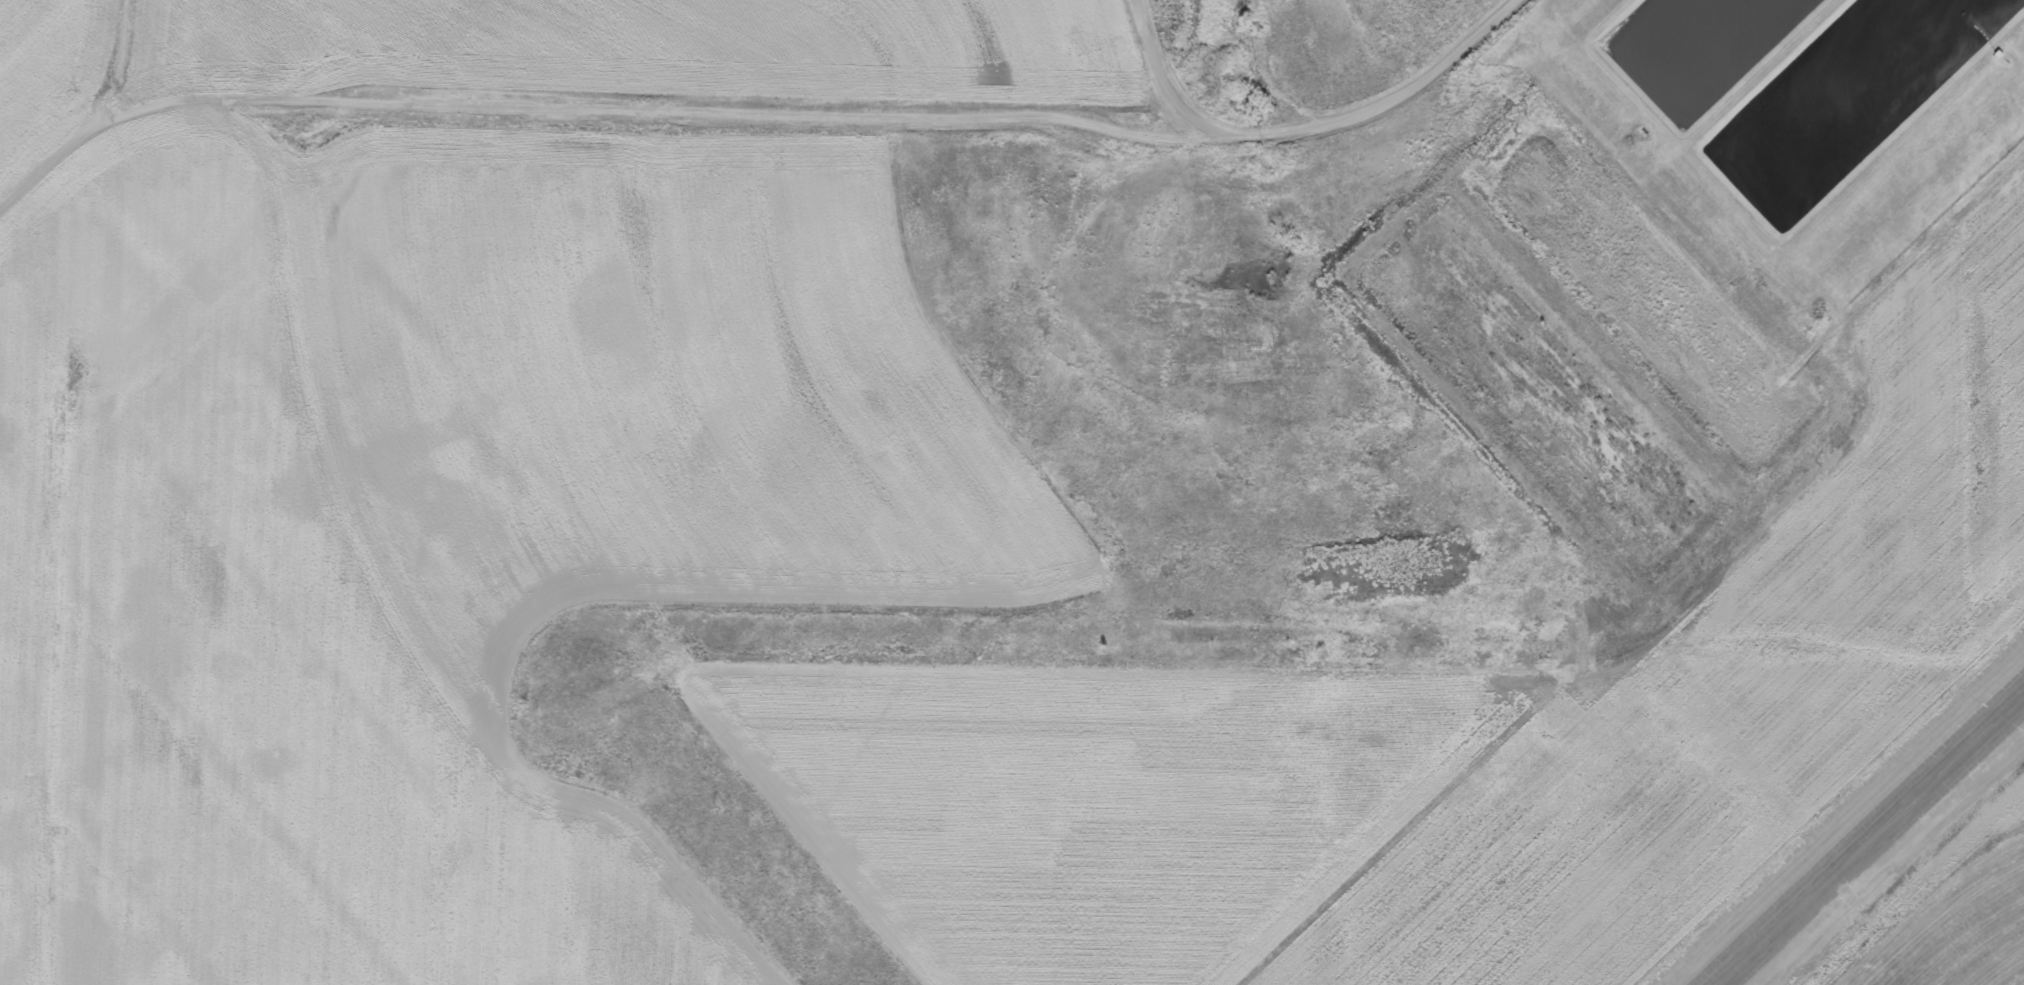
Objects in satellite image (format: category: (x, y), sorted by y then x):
road: (588, 114)
road: (1305, 132)
airport: (1056, 551)
airport runway: (1867, 836)
crop: (1953, 928)

